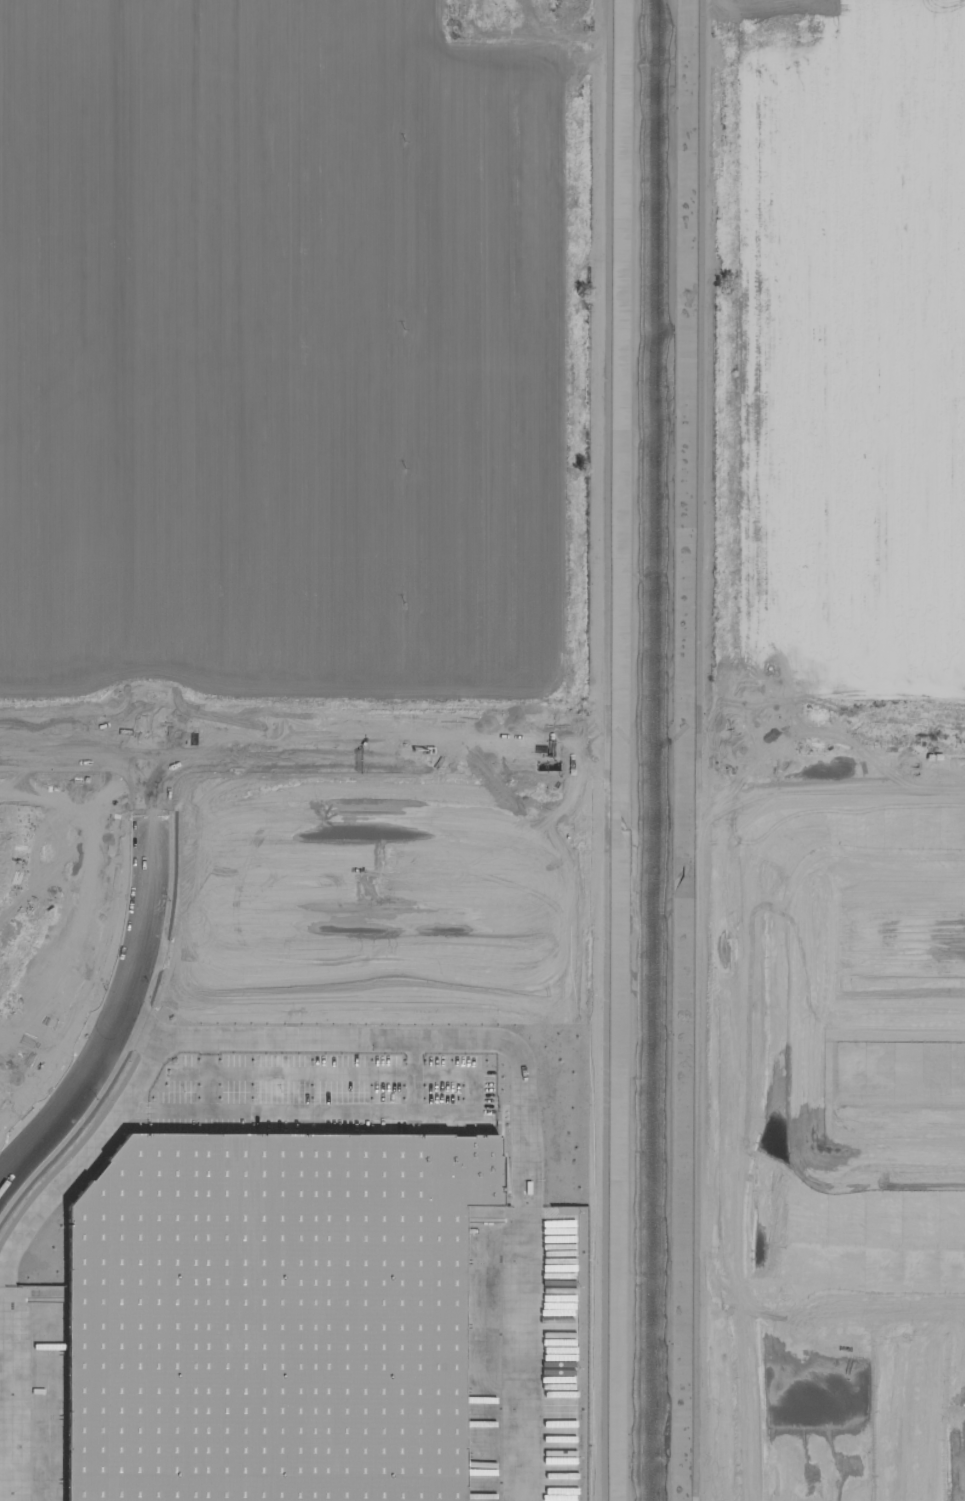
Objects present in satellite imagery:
crop: (299, 377)
road: (951, 406)
road: (253, 747)
road: (857, 749)
building: (360, 772)
building: (516, 798)
building: (433, 812)
building: (43, 817)
building: (334, 826)
building: (128, 831)
building: (197, 841)
building: (101, 842)
road: (893, 873)
building: (175, 892)
road: (136, 957)
road: (811, 1006)
road: (888, 1025)
road: (137, 1032)
road: (287, 1040)
building: (137, 1052)
road: (143, 1069)
road: (300, 1100)
road: (878, 1168)
road: (531, 1222)
road: (3, 1279)
building: (275, 1312)
road: (890, 1313)
road: (958, 1408)
road: (810, 1409)

